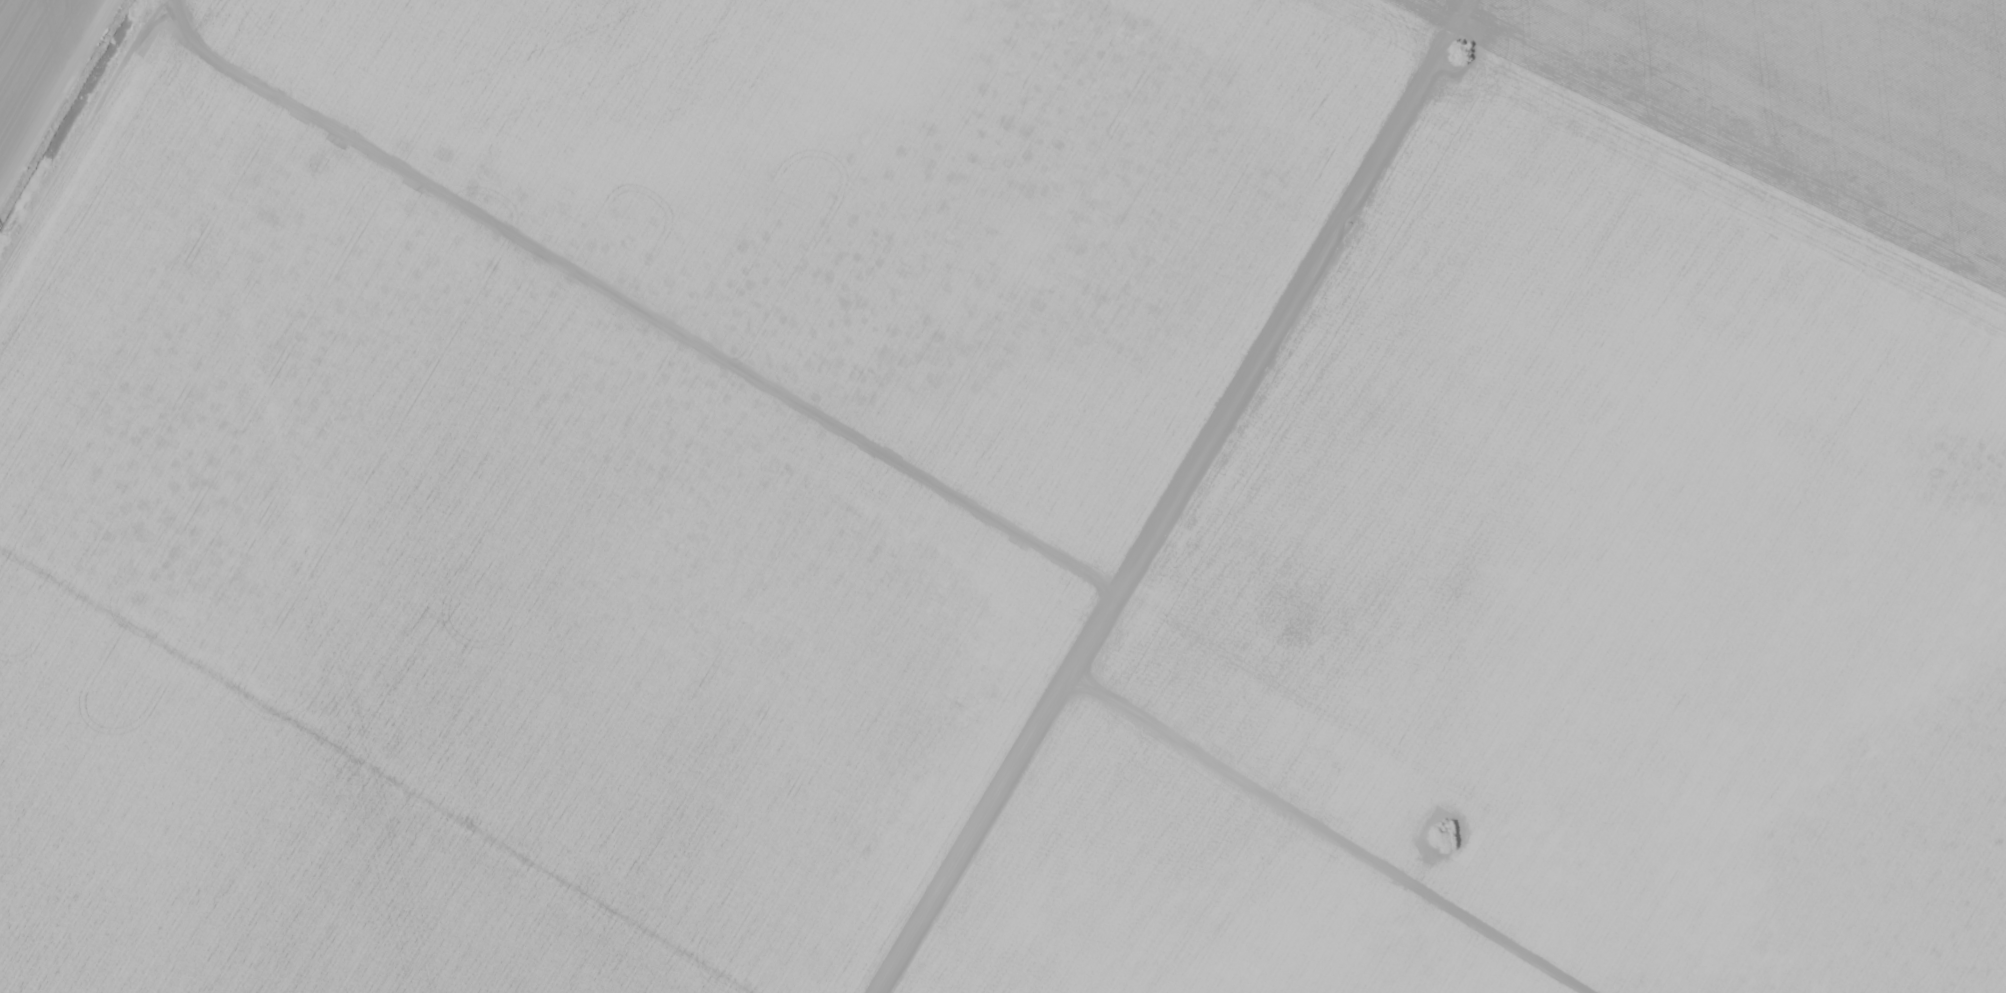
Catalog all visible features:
road: (58, 98)

